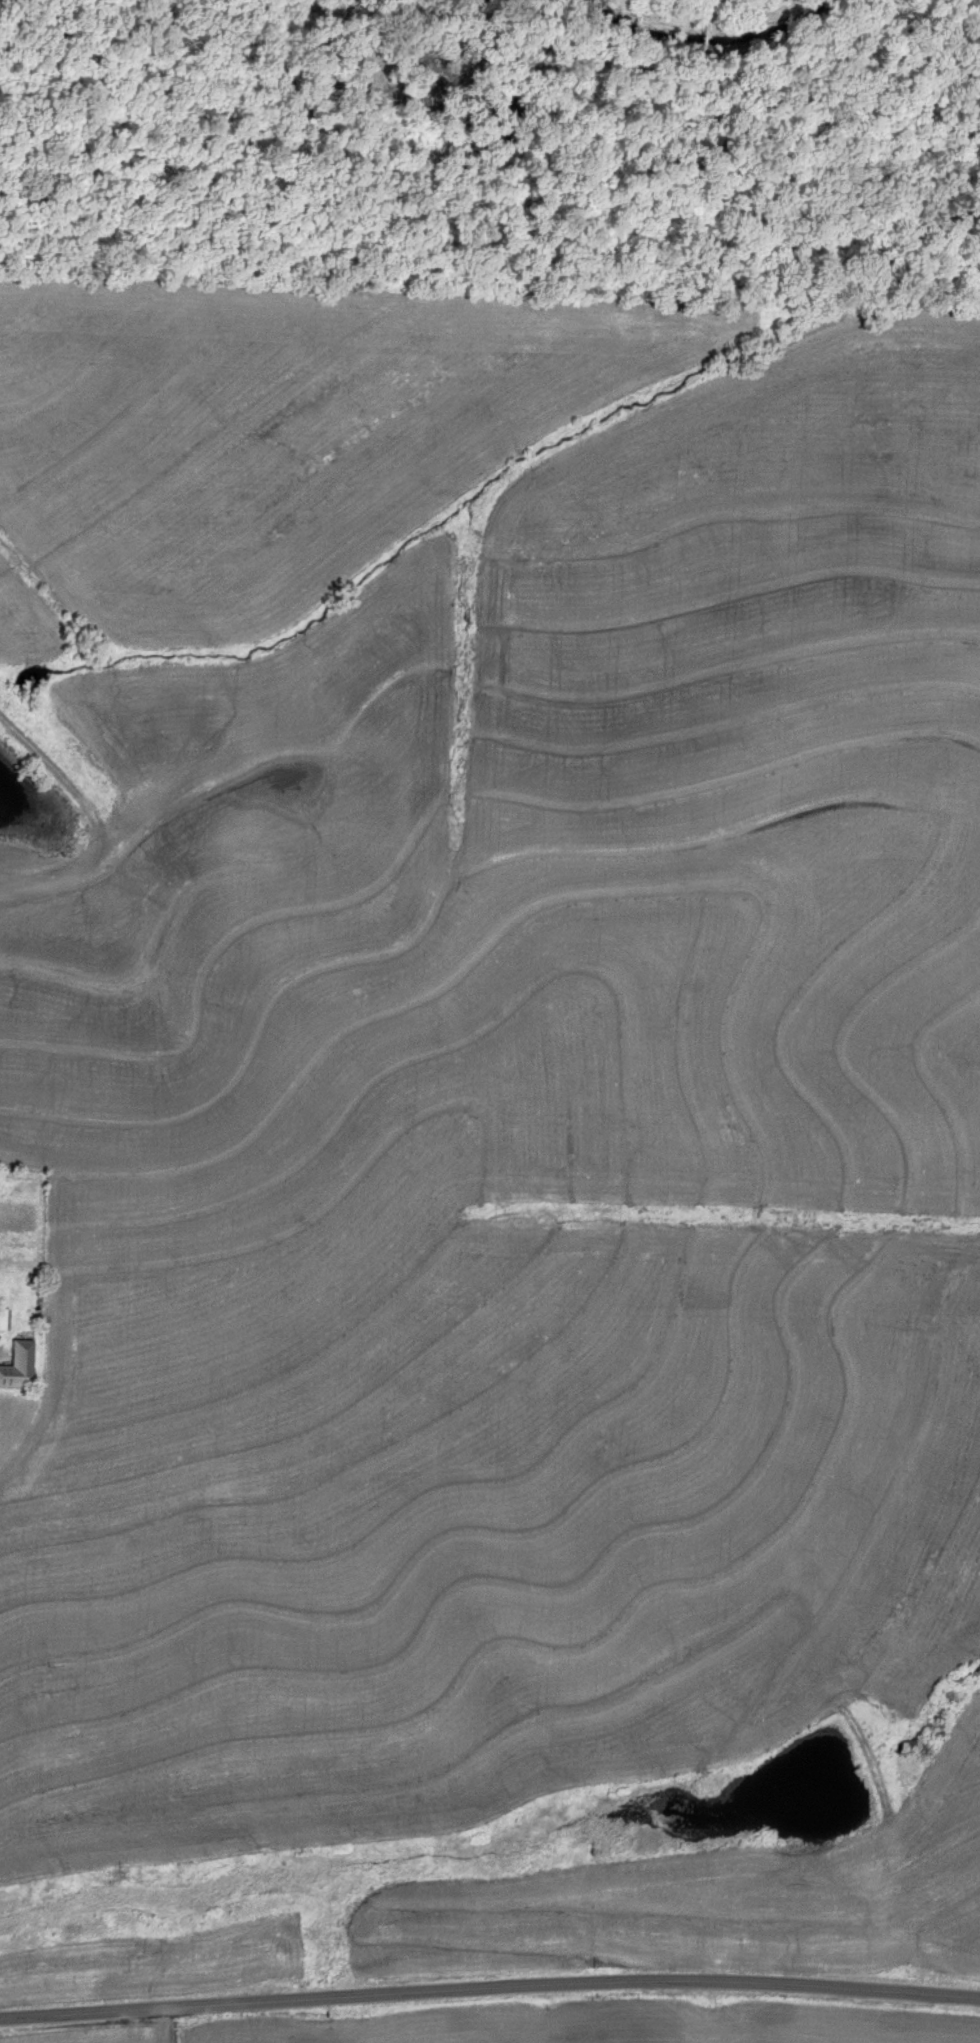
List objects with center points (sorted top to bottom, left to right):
river: (708, 32)
building: (2, 1320)
building: (16, 1365)
building: (870, 1881)
road: (489, 1988)

